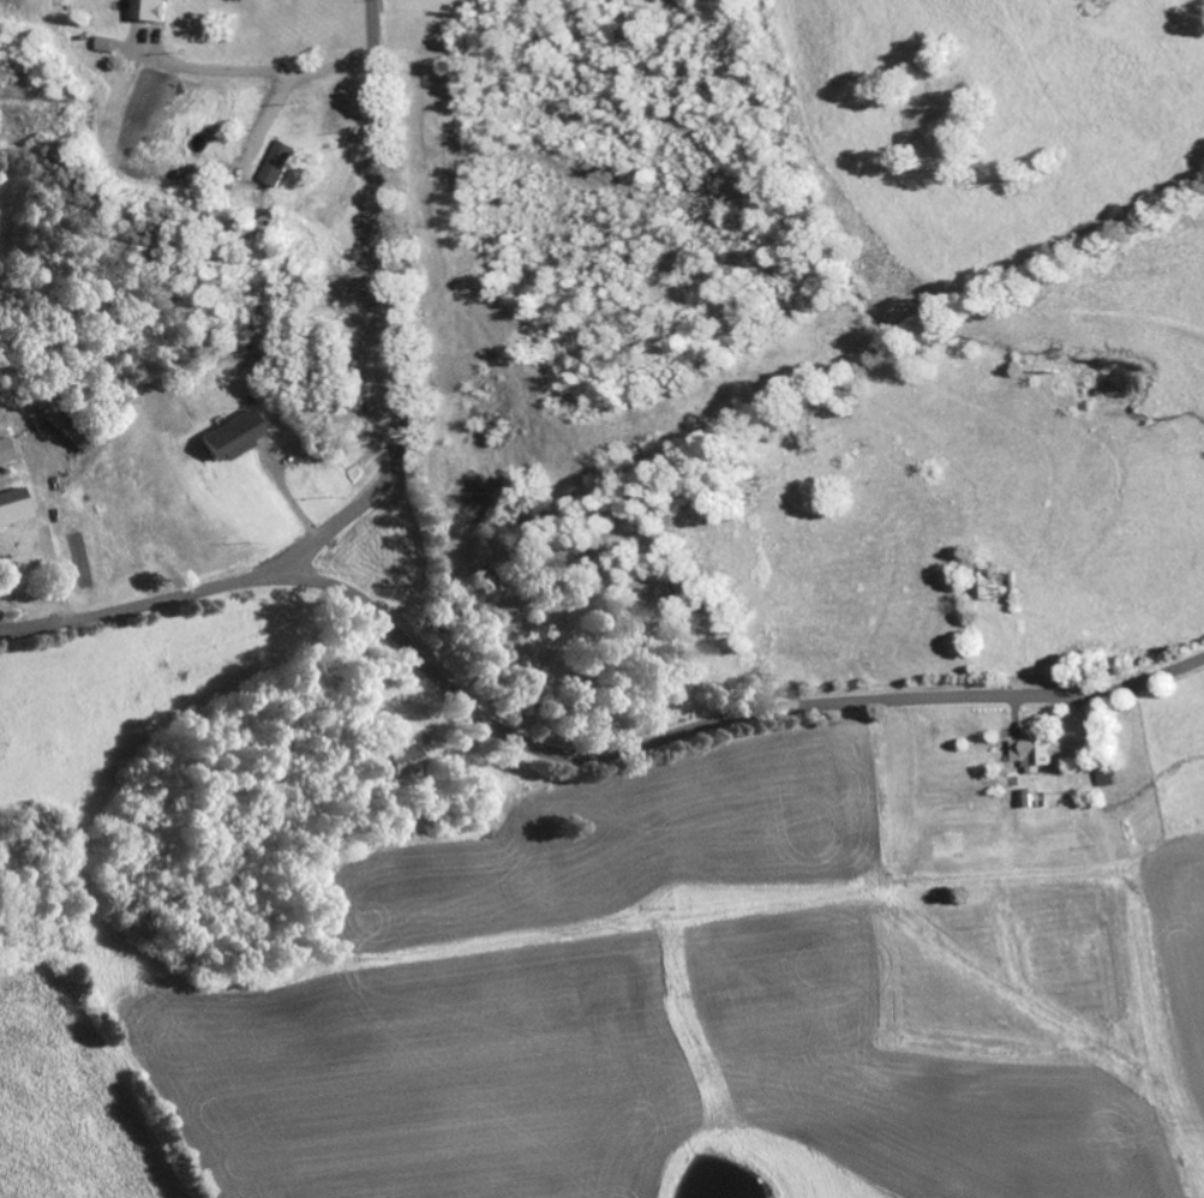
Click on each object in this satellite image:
building: (150, 10)
building: (106, 44)
building: (281, 163)
road: (395, 319)
building: (79, 438)
building: (232, 438)
building: (5, 450)
building: (13, 507)
building: (1034, 754)
road: (573, 759)
building: (395, 762)
building: (1028, 798)

